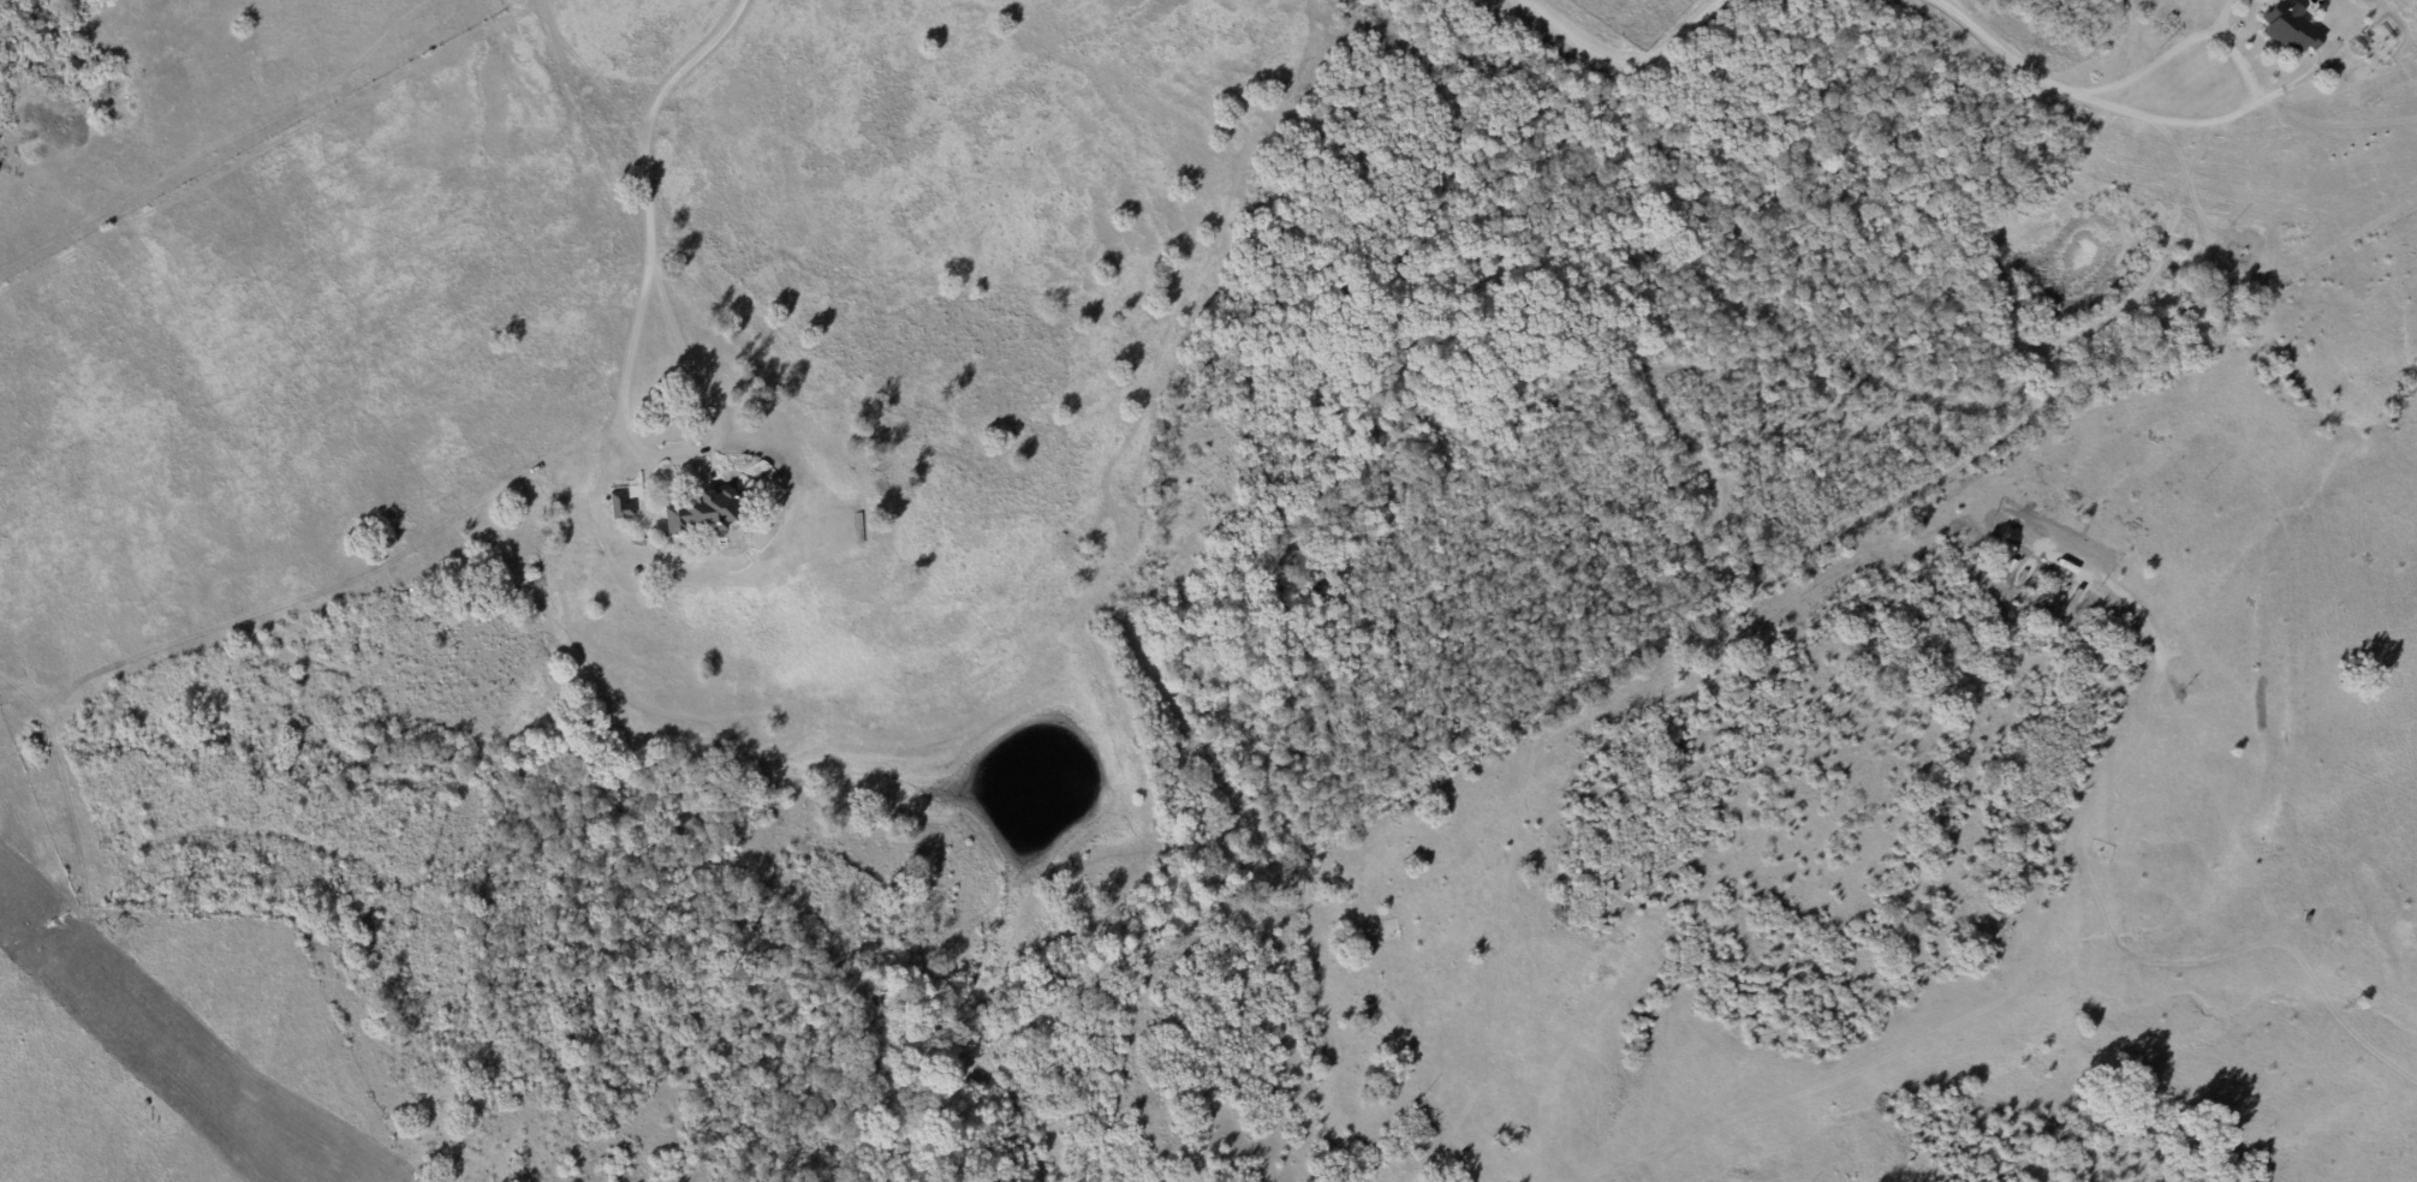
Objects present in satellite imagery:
building: (2288, 26)
road: (1627, 64)
road: (2147, 68)
road: (648, 106)
road: (2135, 114)
road: (674, 452)
building: (618, 505)
building: (703, 511)

